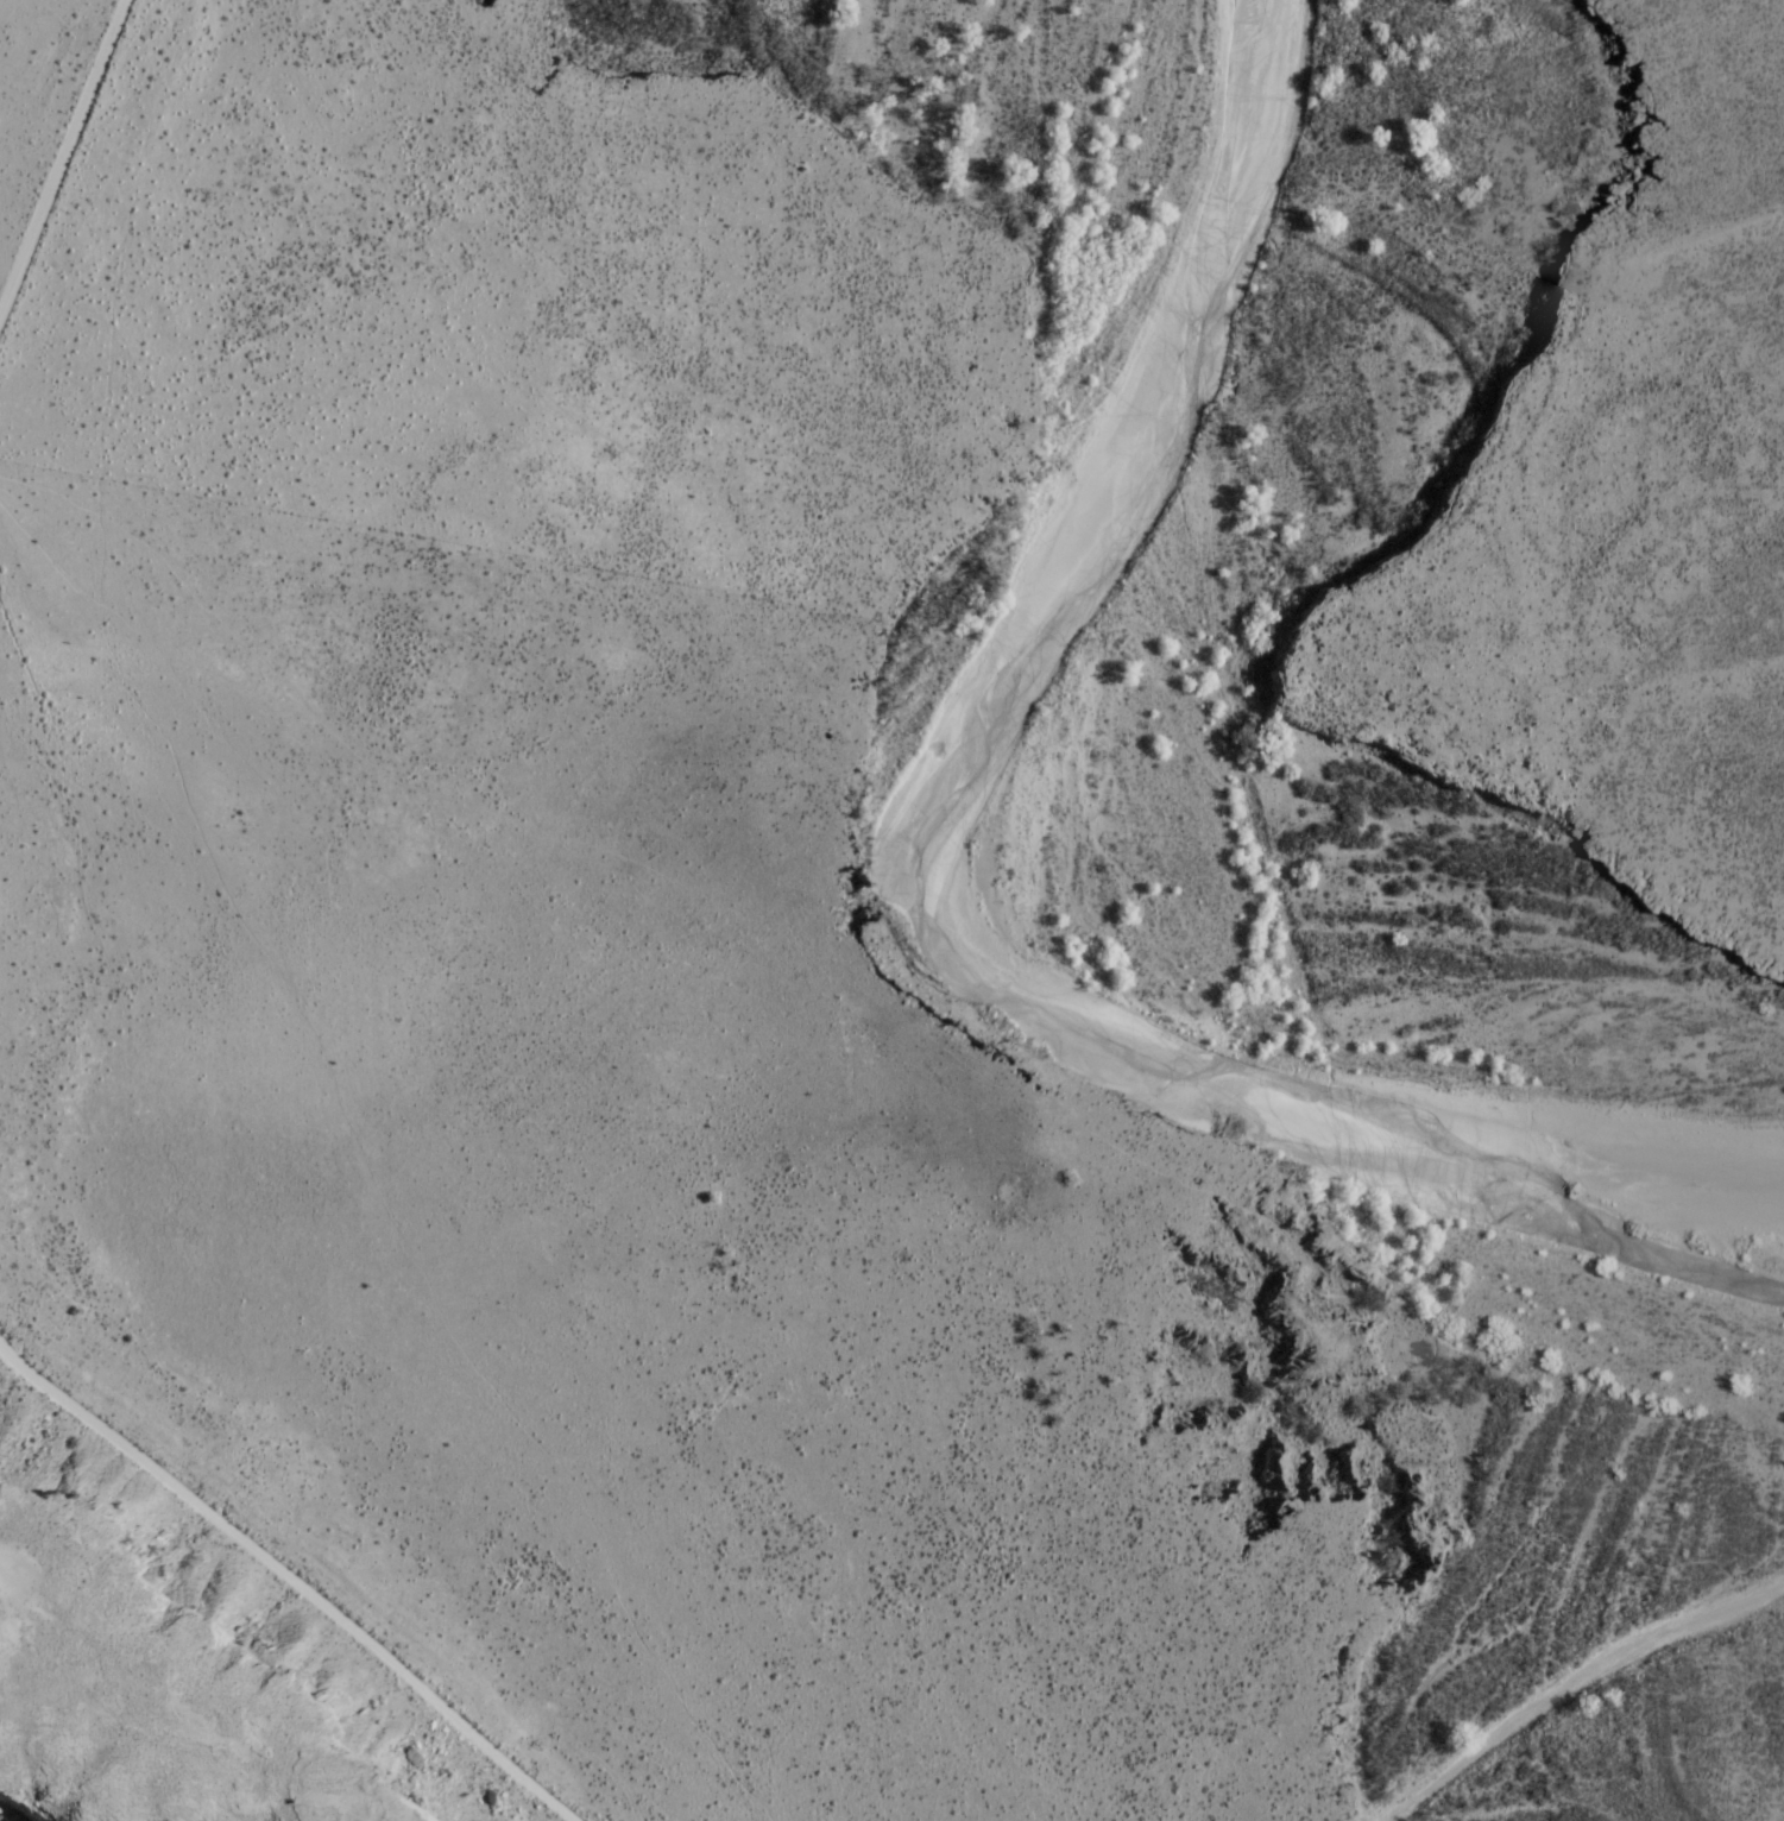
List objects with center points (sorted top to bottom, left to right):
road: (61, 153)
river: (1007, 871)
road: (294, 1580)

